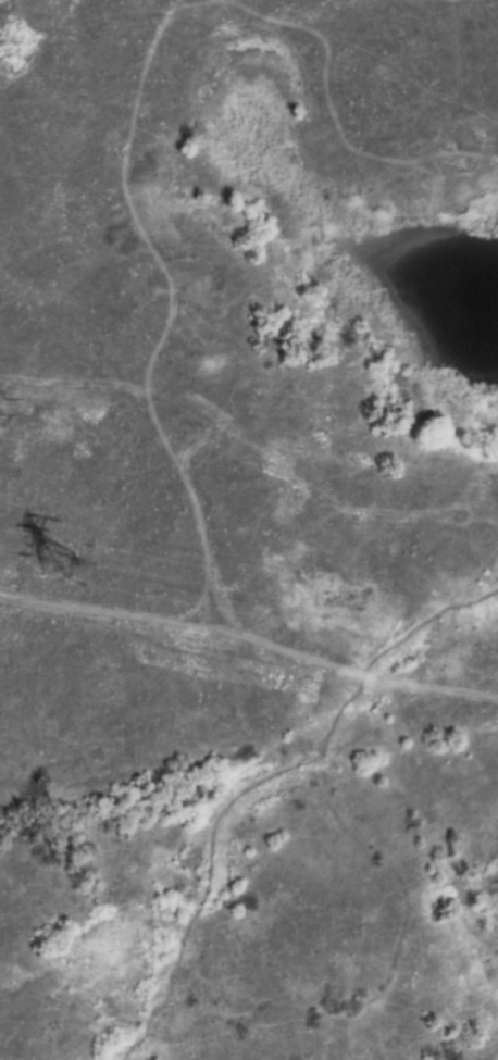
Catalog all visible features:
power tower: (42, 553)

